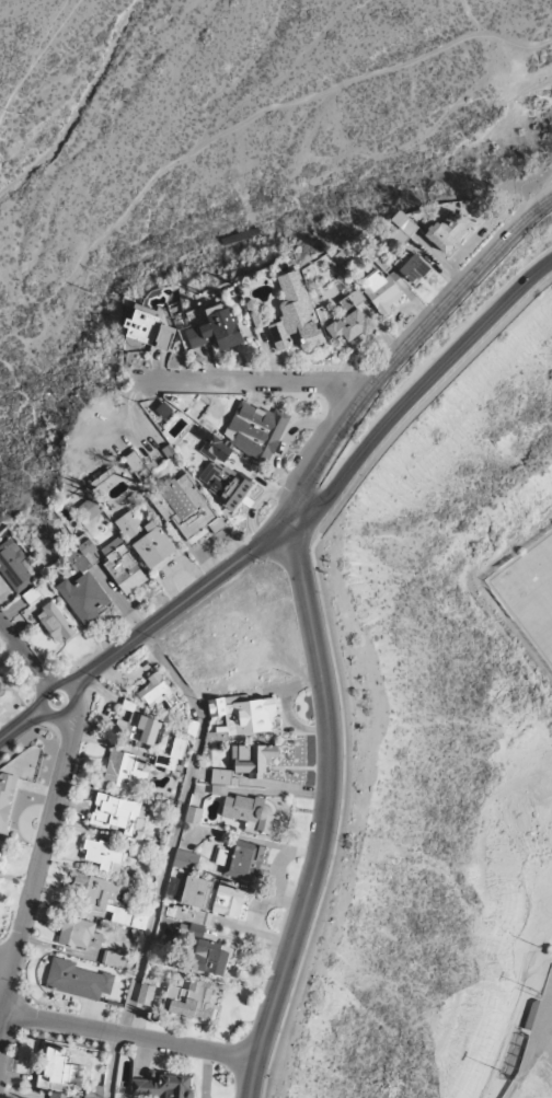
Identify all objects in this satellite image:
road: (480, 24)
road: (39, 55)
road: (1, 113)
road: (242, 124)
park: (225, 152)
building: (402, 227)
building: (446, 233)
building: (414, 268)
building: (381, 291)
building: (352, 300)
building: (255, 313)
building: (350, 325)
building: (142, 326)
building: (217, 328)
building: (164, 336)
road: (253, 382)
road: (419, 395)
road: (428, 398)
building: (255, 430)
building: (217, 449)
building: (138, 465)
building: (223, 483)
building: (185, 506)
building: (90, 509)
building: (146, 539)
building: (82, 554)
building: (13, 565)
building: (123, 566)
building: (83, 597)
road: (180, 605)
road: (308, 605)
building: (55, 623)
road: (23, 656)
building: (1, 685)
road: (62, 685)
building: (159, 693)
building: (241, 715)
road: (22, 725)
building: (141, 728)
building: (177, 748)
building: (252, 759)
building: (124, 771)
building: (221, 776)
building: (7, 798)
building: (248, 811)
building: (117, 813)
building: (194, 814)
road: (340, 817)
road: (45, 844)
building: (0, 847)
building: (104, 855)
road: (169, 857)
building: (186, 859)
building: (240, 860)
building: (107, 900)
building: (80, 934)
building: (209, 958)
building: (113, 959)
road: (5, 974)
building: (77, 980)
building: (146, 994)
road: (8, 995)
building: (189, 1001)
road: (1, 1014)
road: (1, 1028)
road: (129, 1037)
park: (537, 1053)
building: (59, 1070)
building: (162, 1086)
building: (59, 1095)

